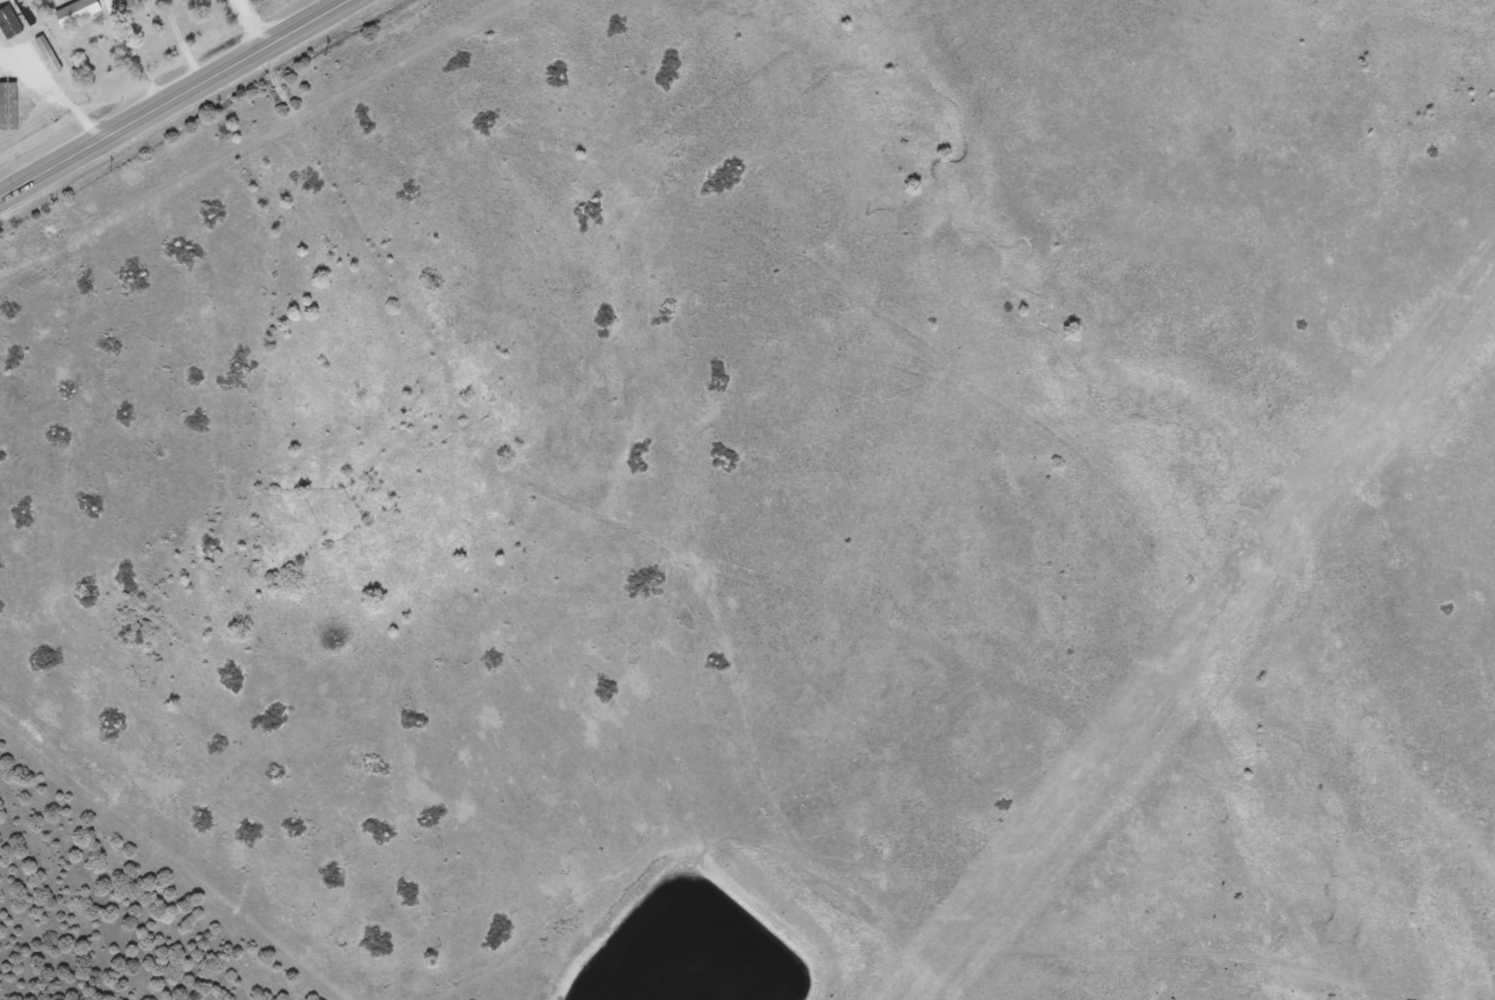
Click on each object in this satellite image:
building: (77, 10)
building: (25, 14)
road: (251, 25)
building: (9, 26)
road: (178, 43)
road: (128, 54)
building: (59, 70)
building: (6, 89)
road: (52, 94)
road: (177, 97)
building: (17, 112)
road: (548, 919)

